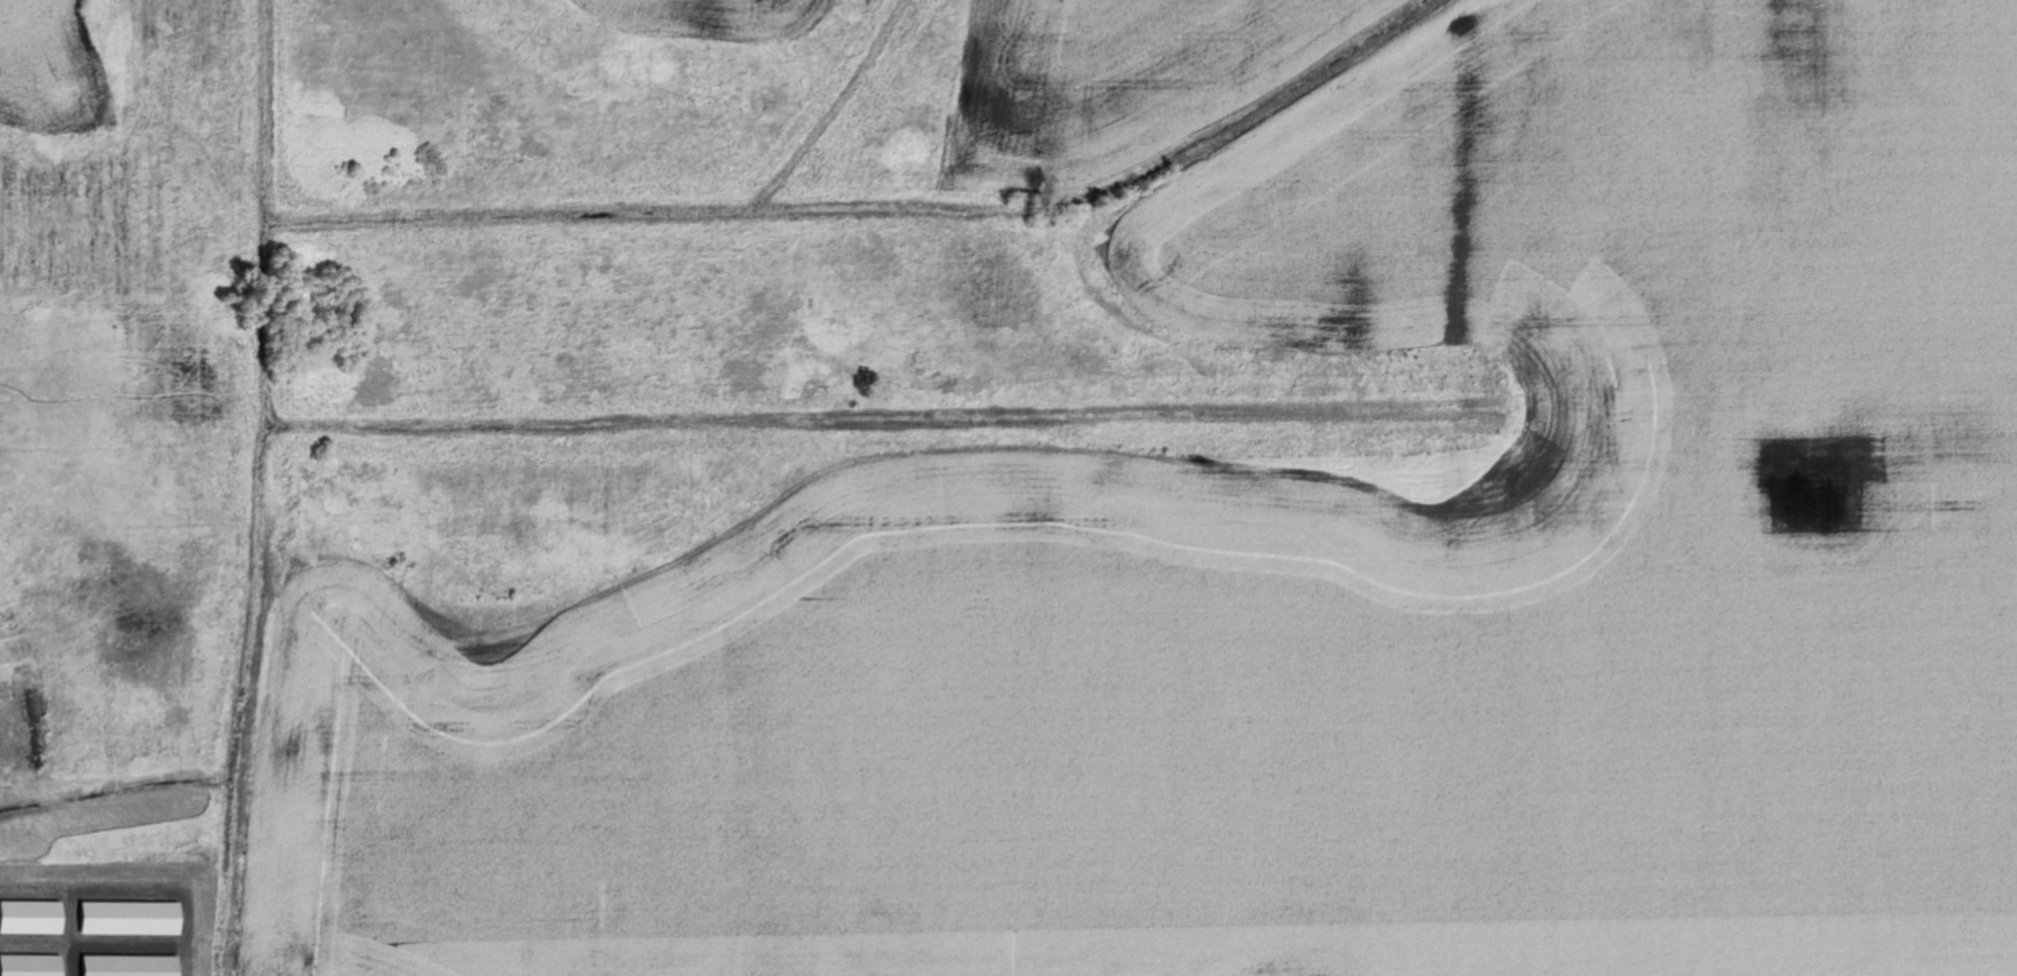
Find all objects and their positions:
building: (130, 965)

